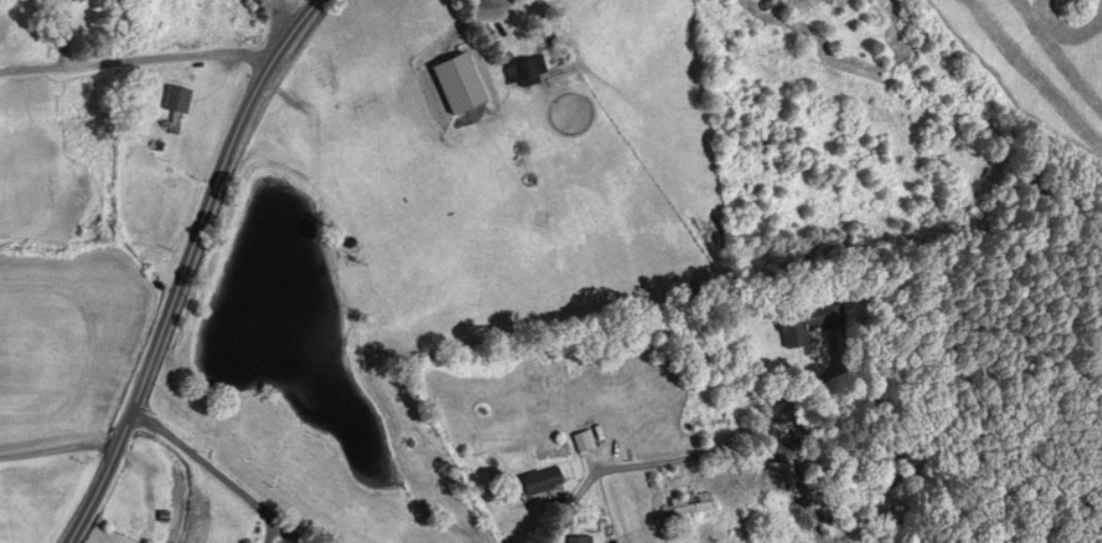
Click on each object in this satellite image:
road: (142, 58)
building: (521, 72)
building: (330, 77)
building: (174, 108)
road: (187, 268)
building: (808, 324)
building: (552, 369)
building: (584, 441)
road: (58, 451)
road: (222, 475)
building: (538, 482)
building: (690, 505)
building: (575, 540)

